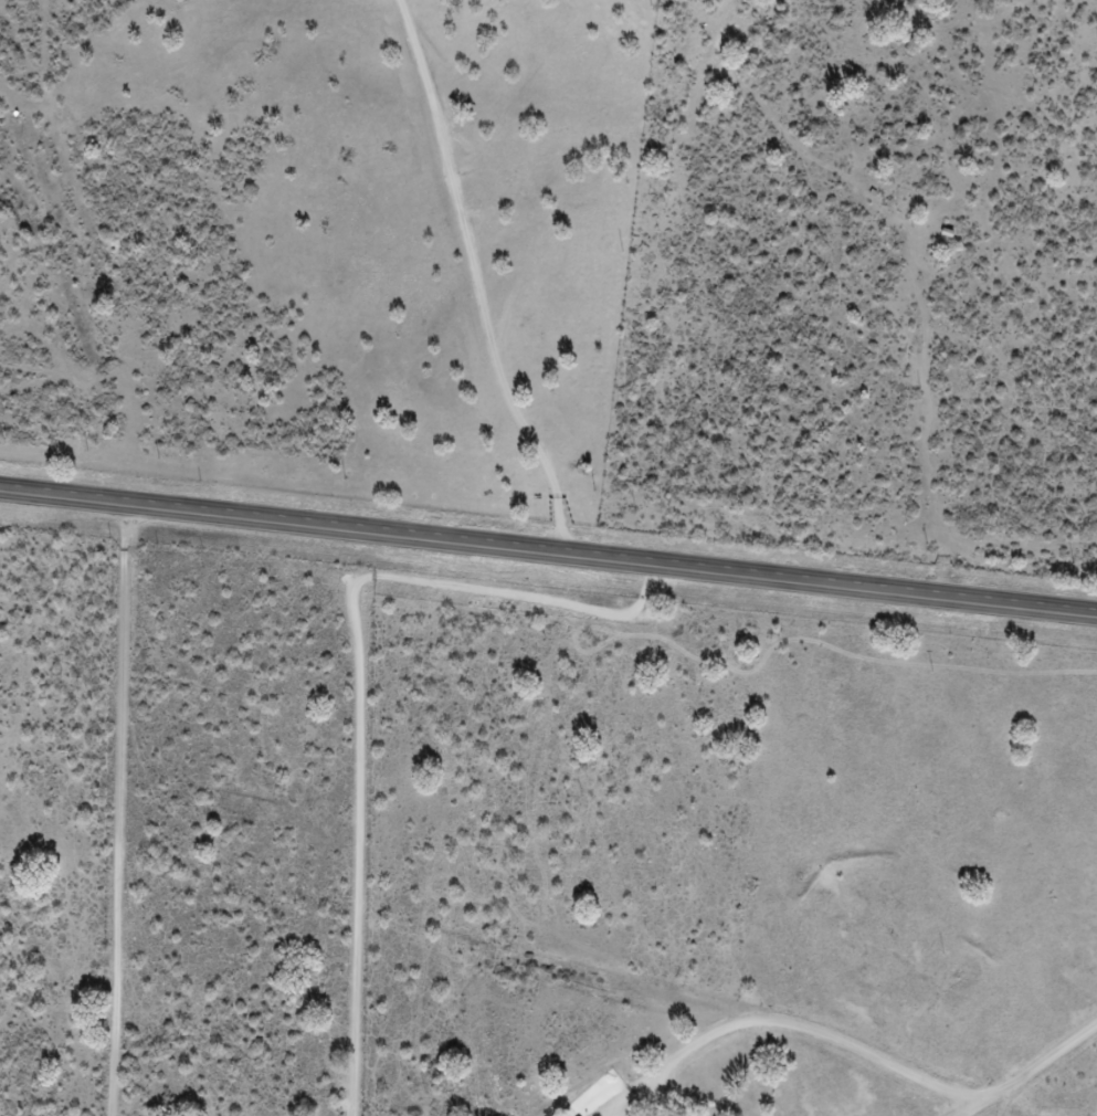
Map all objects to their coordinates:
road: (548, 555)
road: (1056, 1078)

